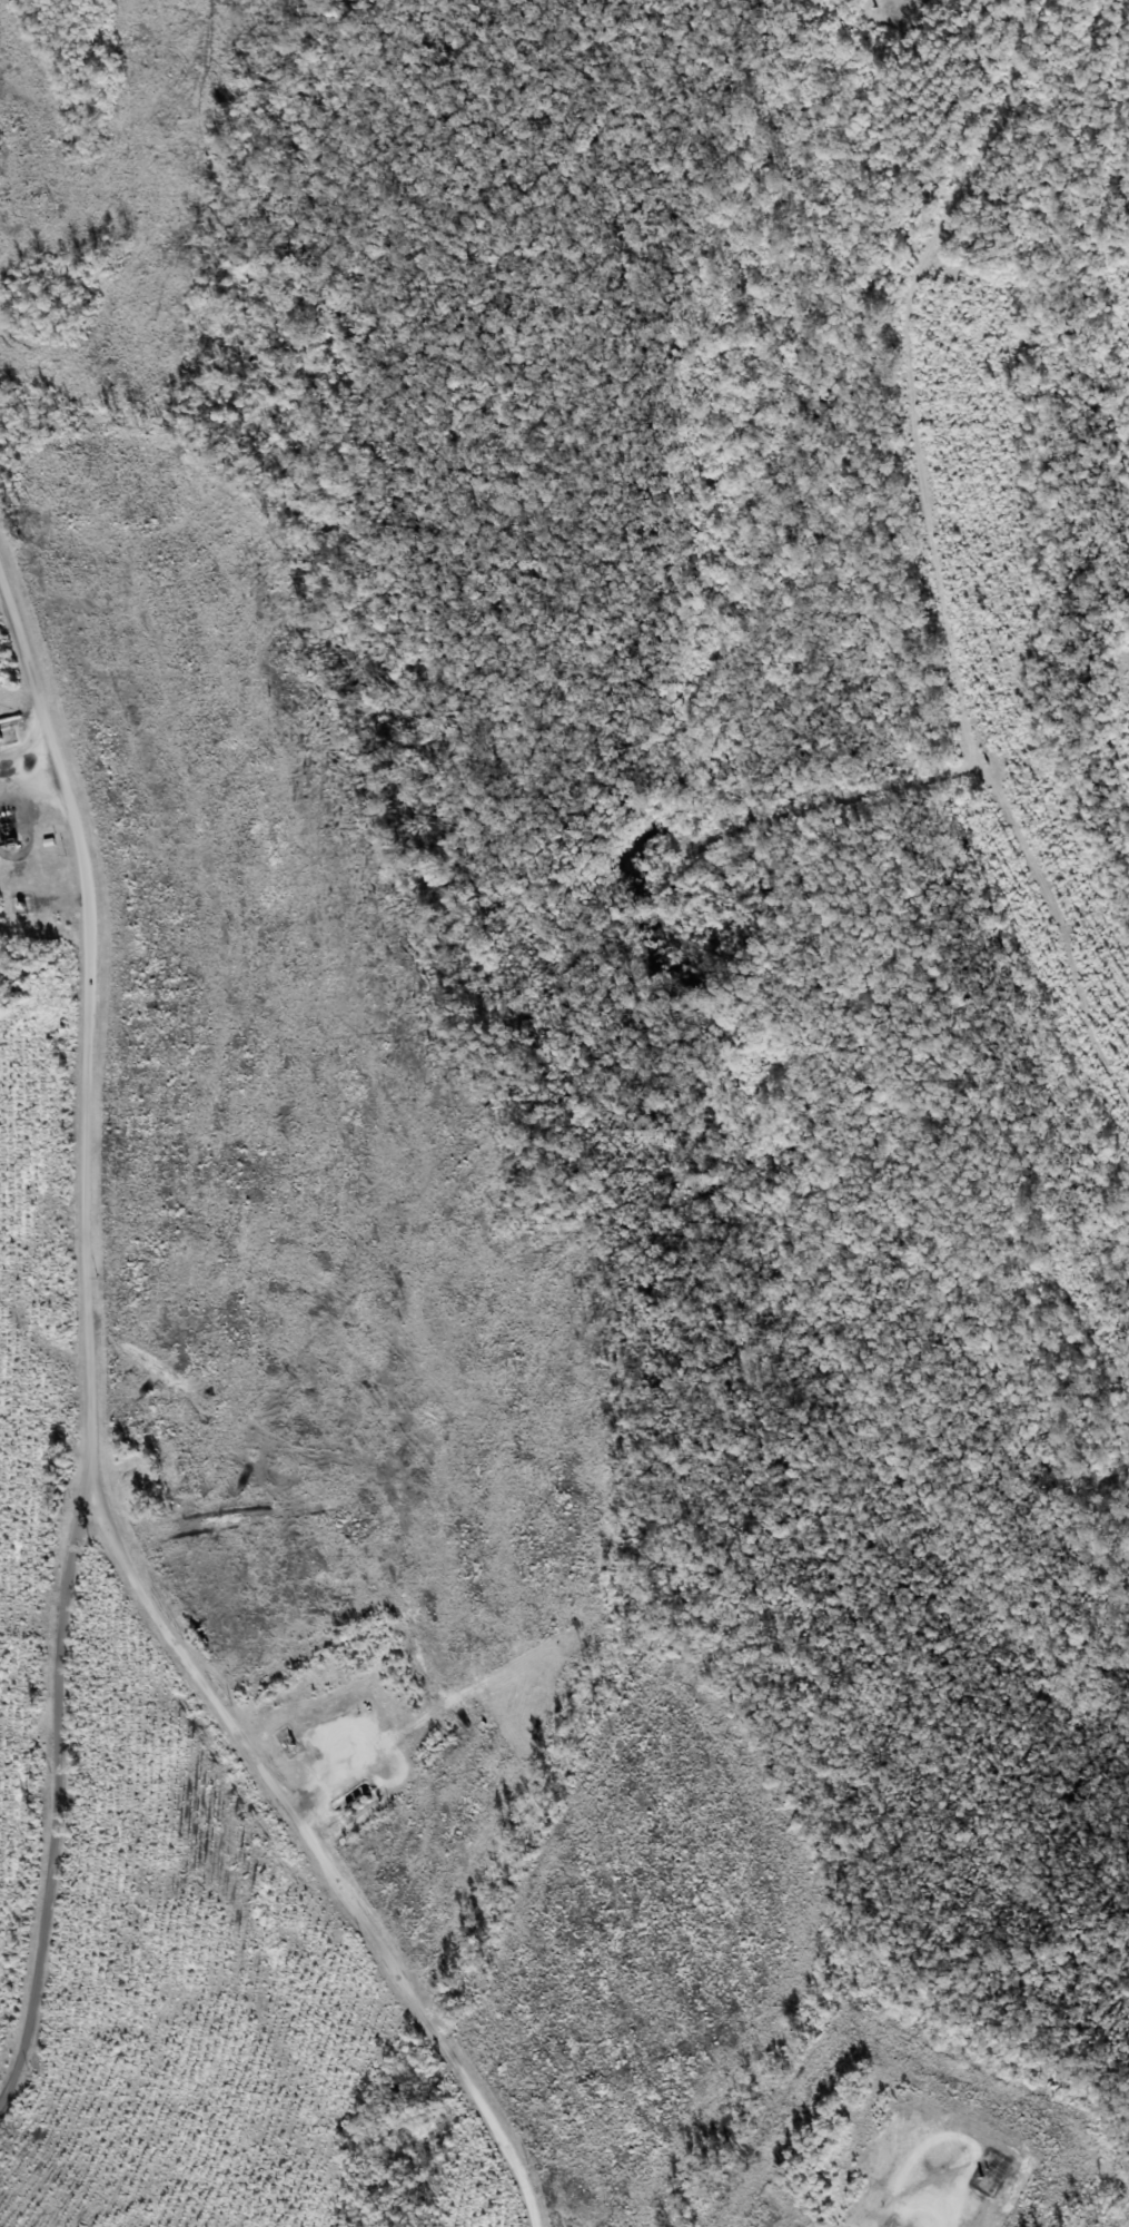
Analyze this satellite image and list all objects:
road: (934, 483)
road: (13, 672)
road: (133, 1510)
road: (63, 1841)

